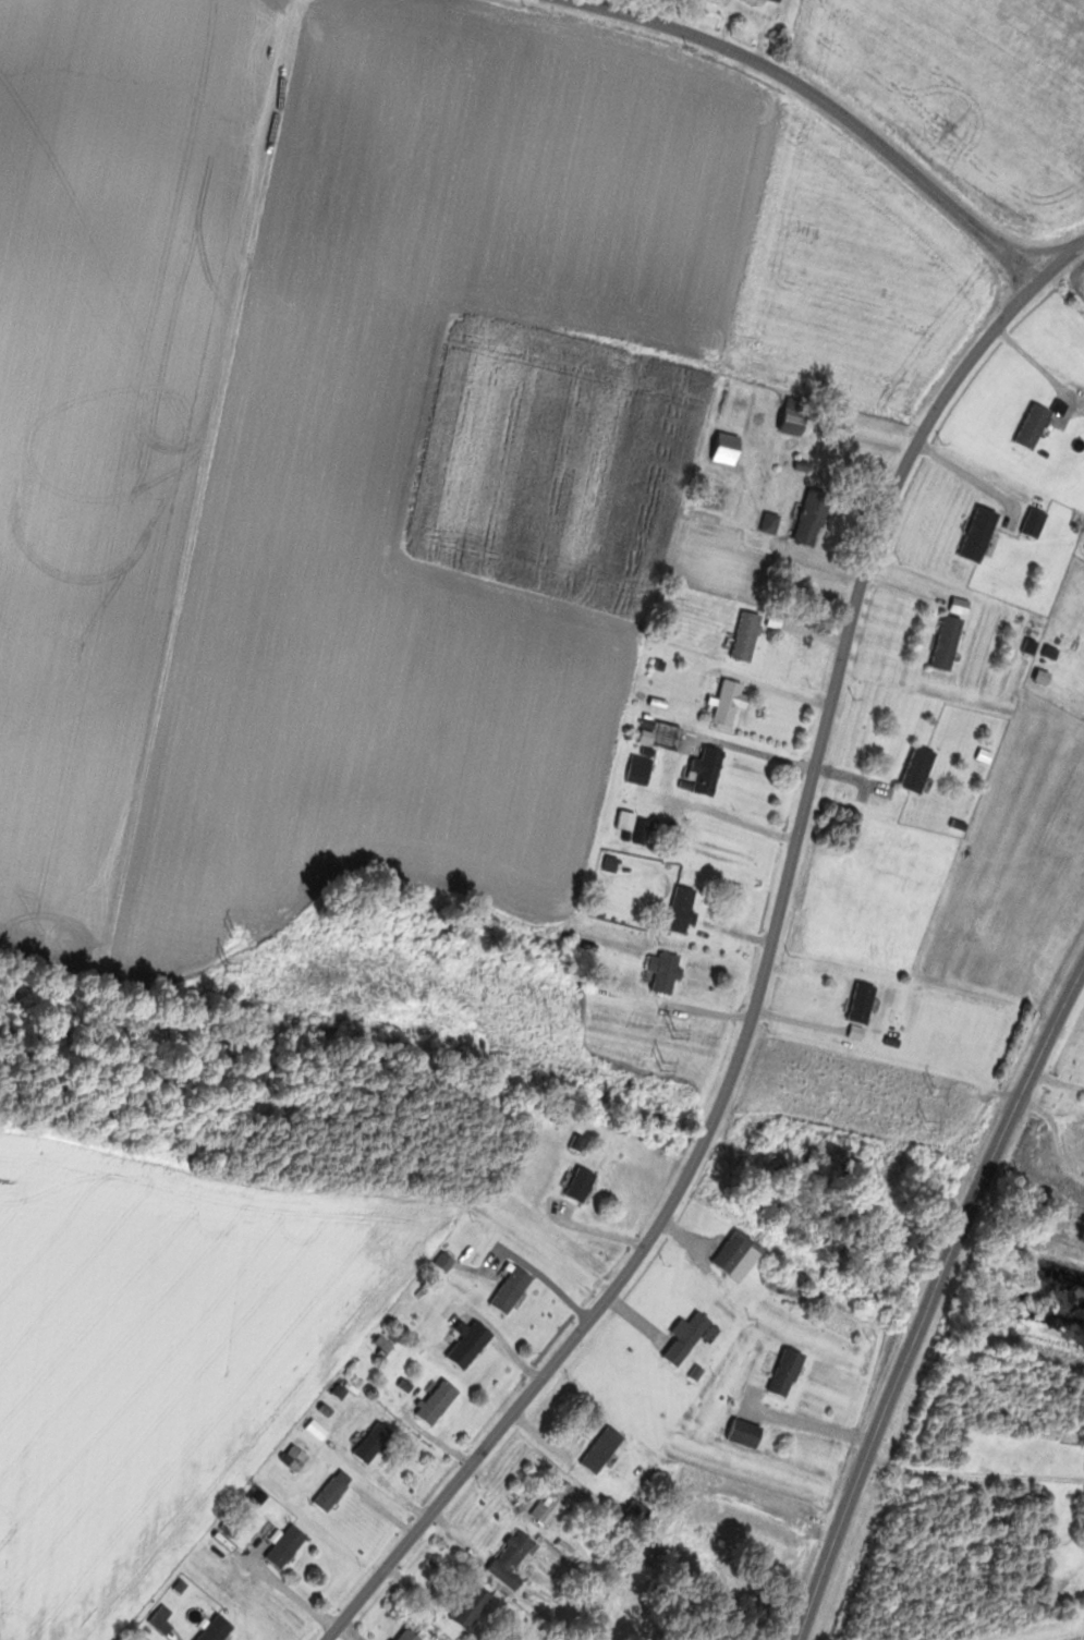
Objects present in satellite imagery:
building: (781, 0)
road: (819, 100)
building: (799, 415)
building: (730, 448)
building: (815, 518)
building: (772, 523)
building: (982, 534)
building: (748, 635)
building: (950, 642)
building: (730, 702)
building: (668, 736)
building: (642, 768)
building: (921, 768)
building: (710, 770)
building: (695, 831)
building: (684, 909)
power tower: (234, 932)
power tower: (229, 965)
road: (768, 970)
building: (669, 971)
building: (865, 1003)
power tower: (677, 1032)
power tower: (666, 1065)
power tower: (935, 1091)
power tower: (928, 1125)
building: (578, 1143)
building: (583, 1185)
building: (740, 1255)
building: (513, 1290)
road: (931, 1301)
building: (689, 1338)
building: (463, 1341)
building: (789, 1372)
building: (441, 1402)
road: (801, 1423)
building: (748, 1433)
building: (376, 1443)
building: (606, 1450)
building: (297, 1458)
road: (975, 1473)
building: (336, 1490)
road: (685, 1504)
building: (556, 1505)
building: (641, 1509)
building: (290, 1546)
building: (515, 1559)
building: (476, 1606)
road: (440, 1608)
building: (531, 1626)
building: (220, 1630)
building: (413, 1636)

